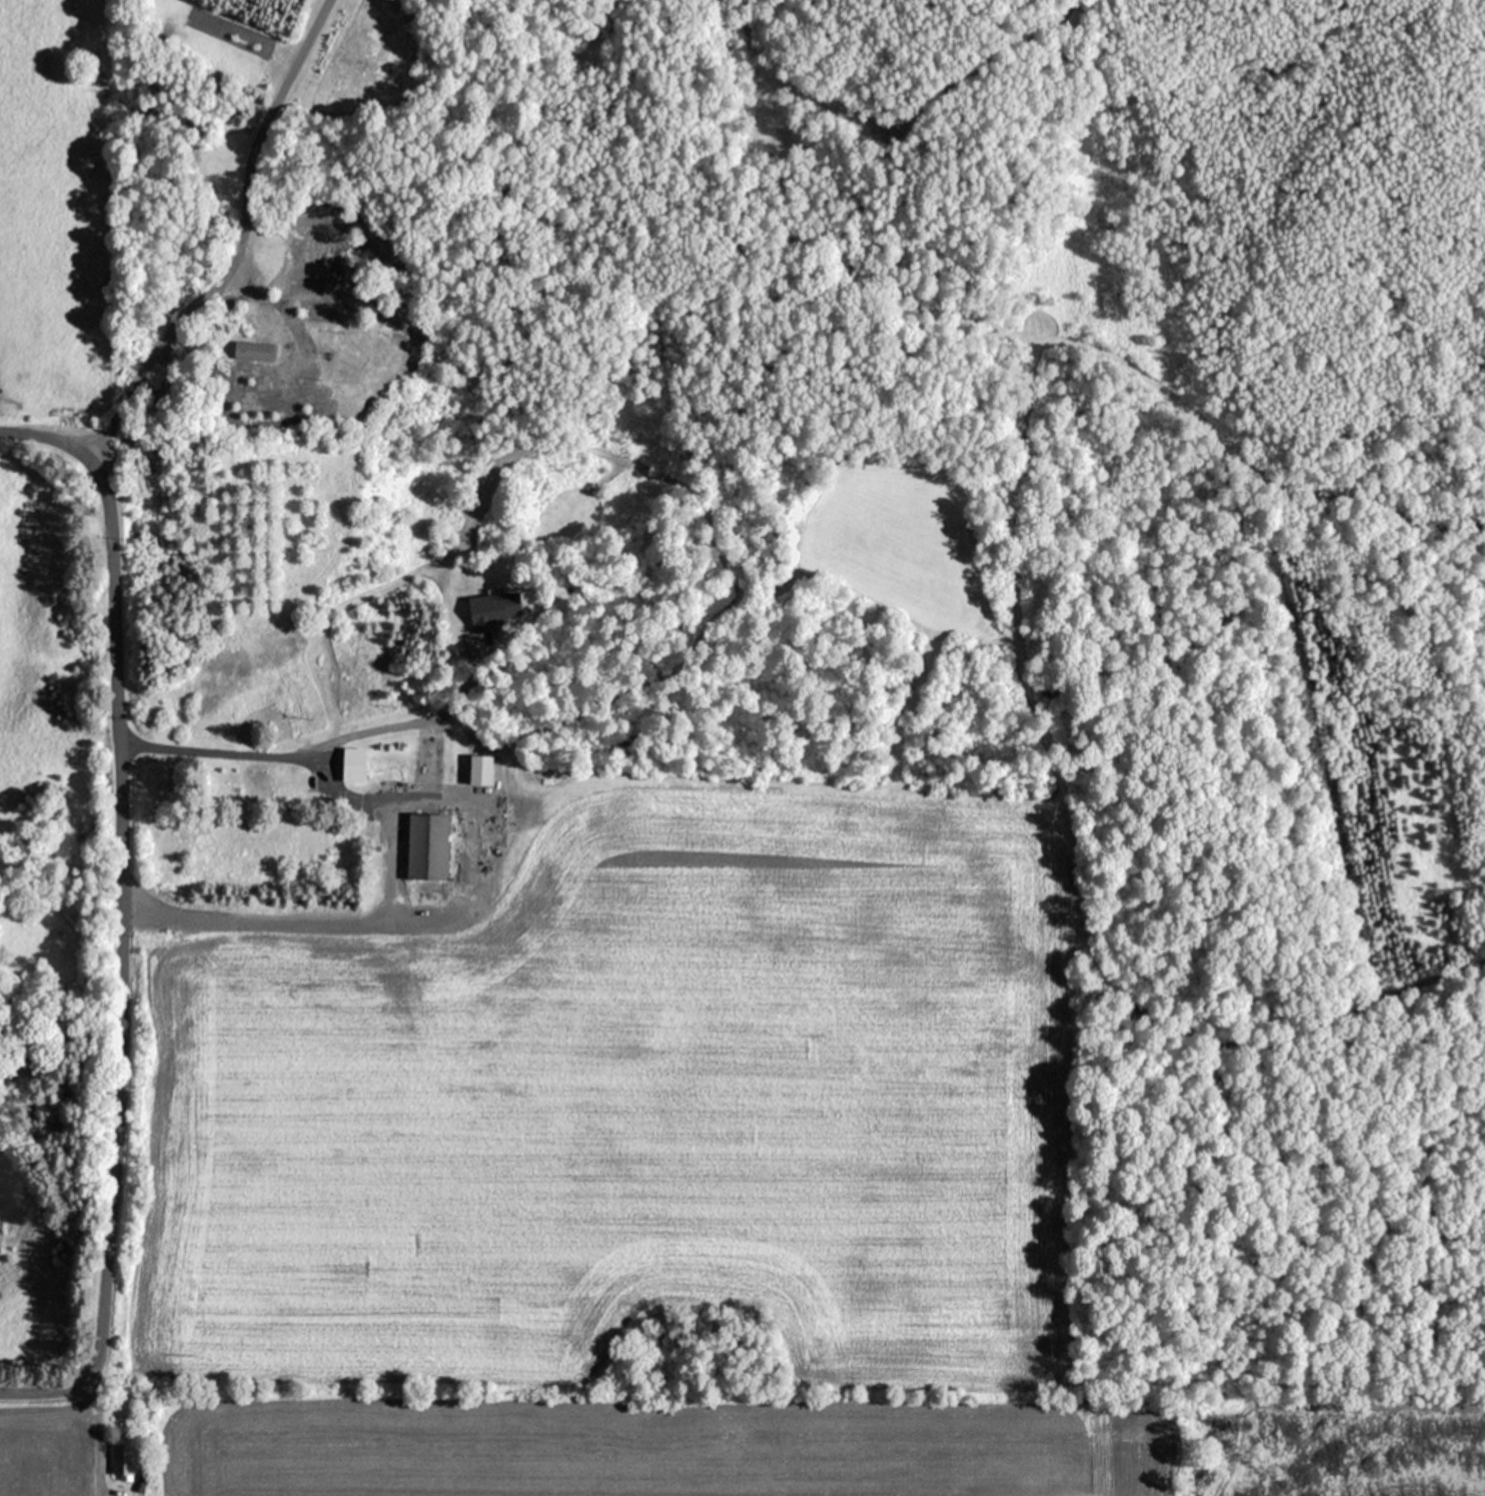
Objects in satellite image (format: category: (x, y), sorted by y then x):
road: (239, 243)
building: (254, 350)
building: (343, 687)
building: (397, 764)
building: (481, 768)
building: (288, 786)
building: (428, 846)
road: (387, 853)
road: (120, 914)
road: (94, 1427)
building: (123, 1461)

